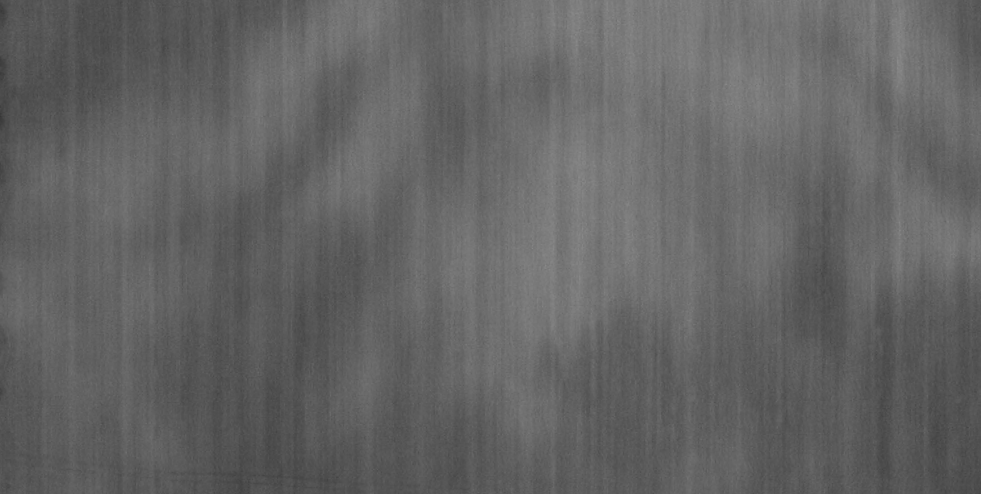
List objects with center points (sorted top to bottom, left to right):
crop: (490, 247)

